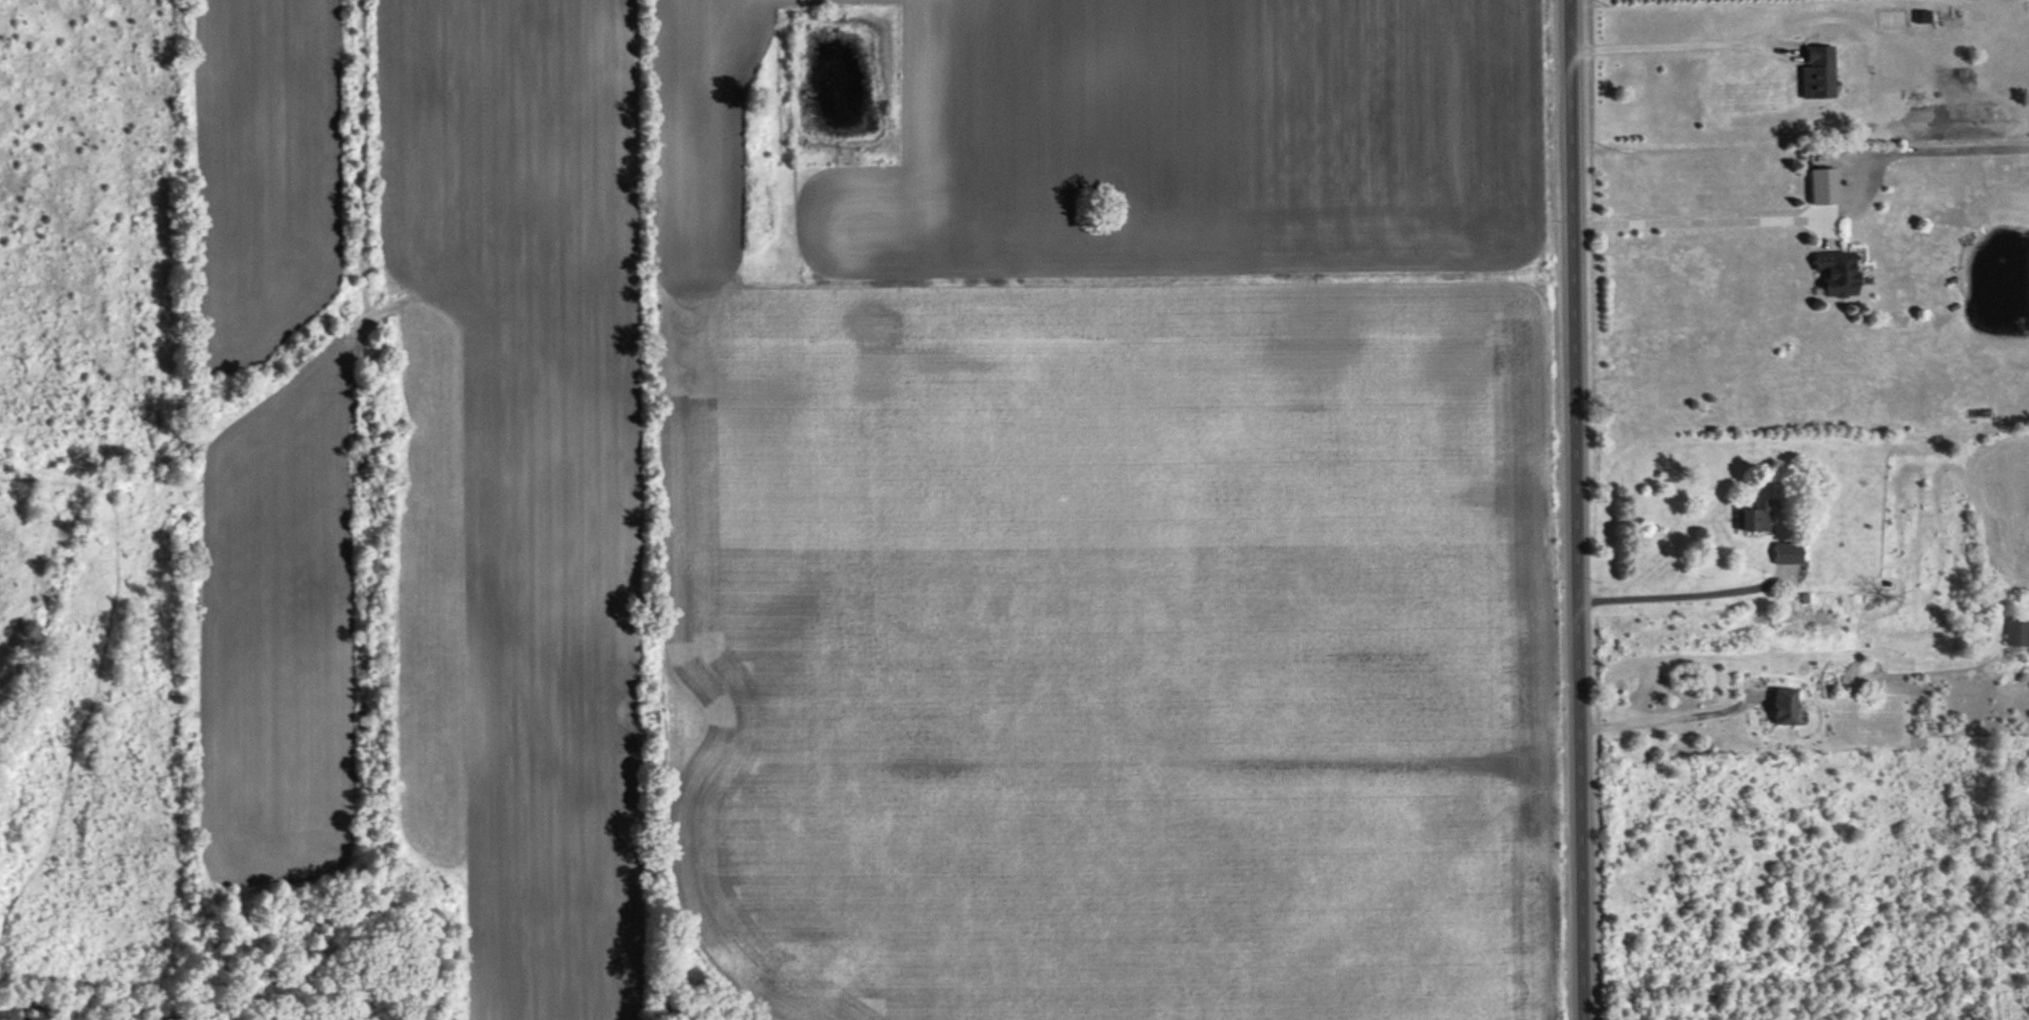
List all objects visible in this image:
building: (1921, 16)
road: (1675, 47)
building: (1816, 73)
building: (1822, 186)
road: (1697, 221)
building: (1836, 272)
road: (1577, 509)
building: (1752, 517)
building: (1786, 553)
road: (1679, 596)
building: (2017, 631)
building: (1783, 706)
road: (1665, 719)

